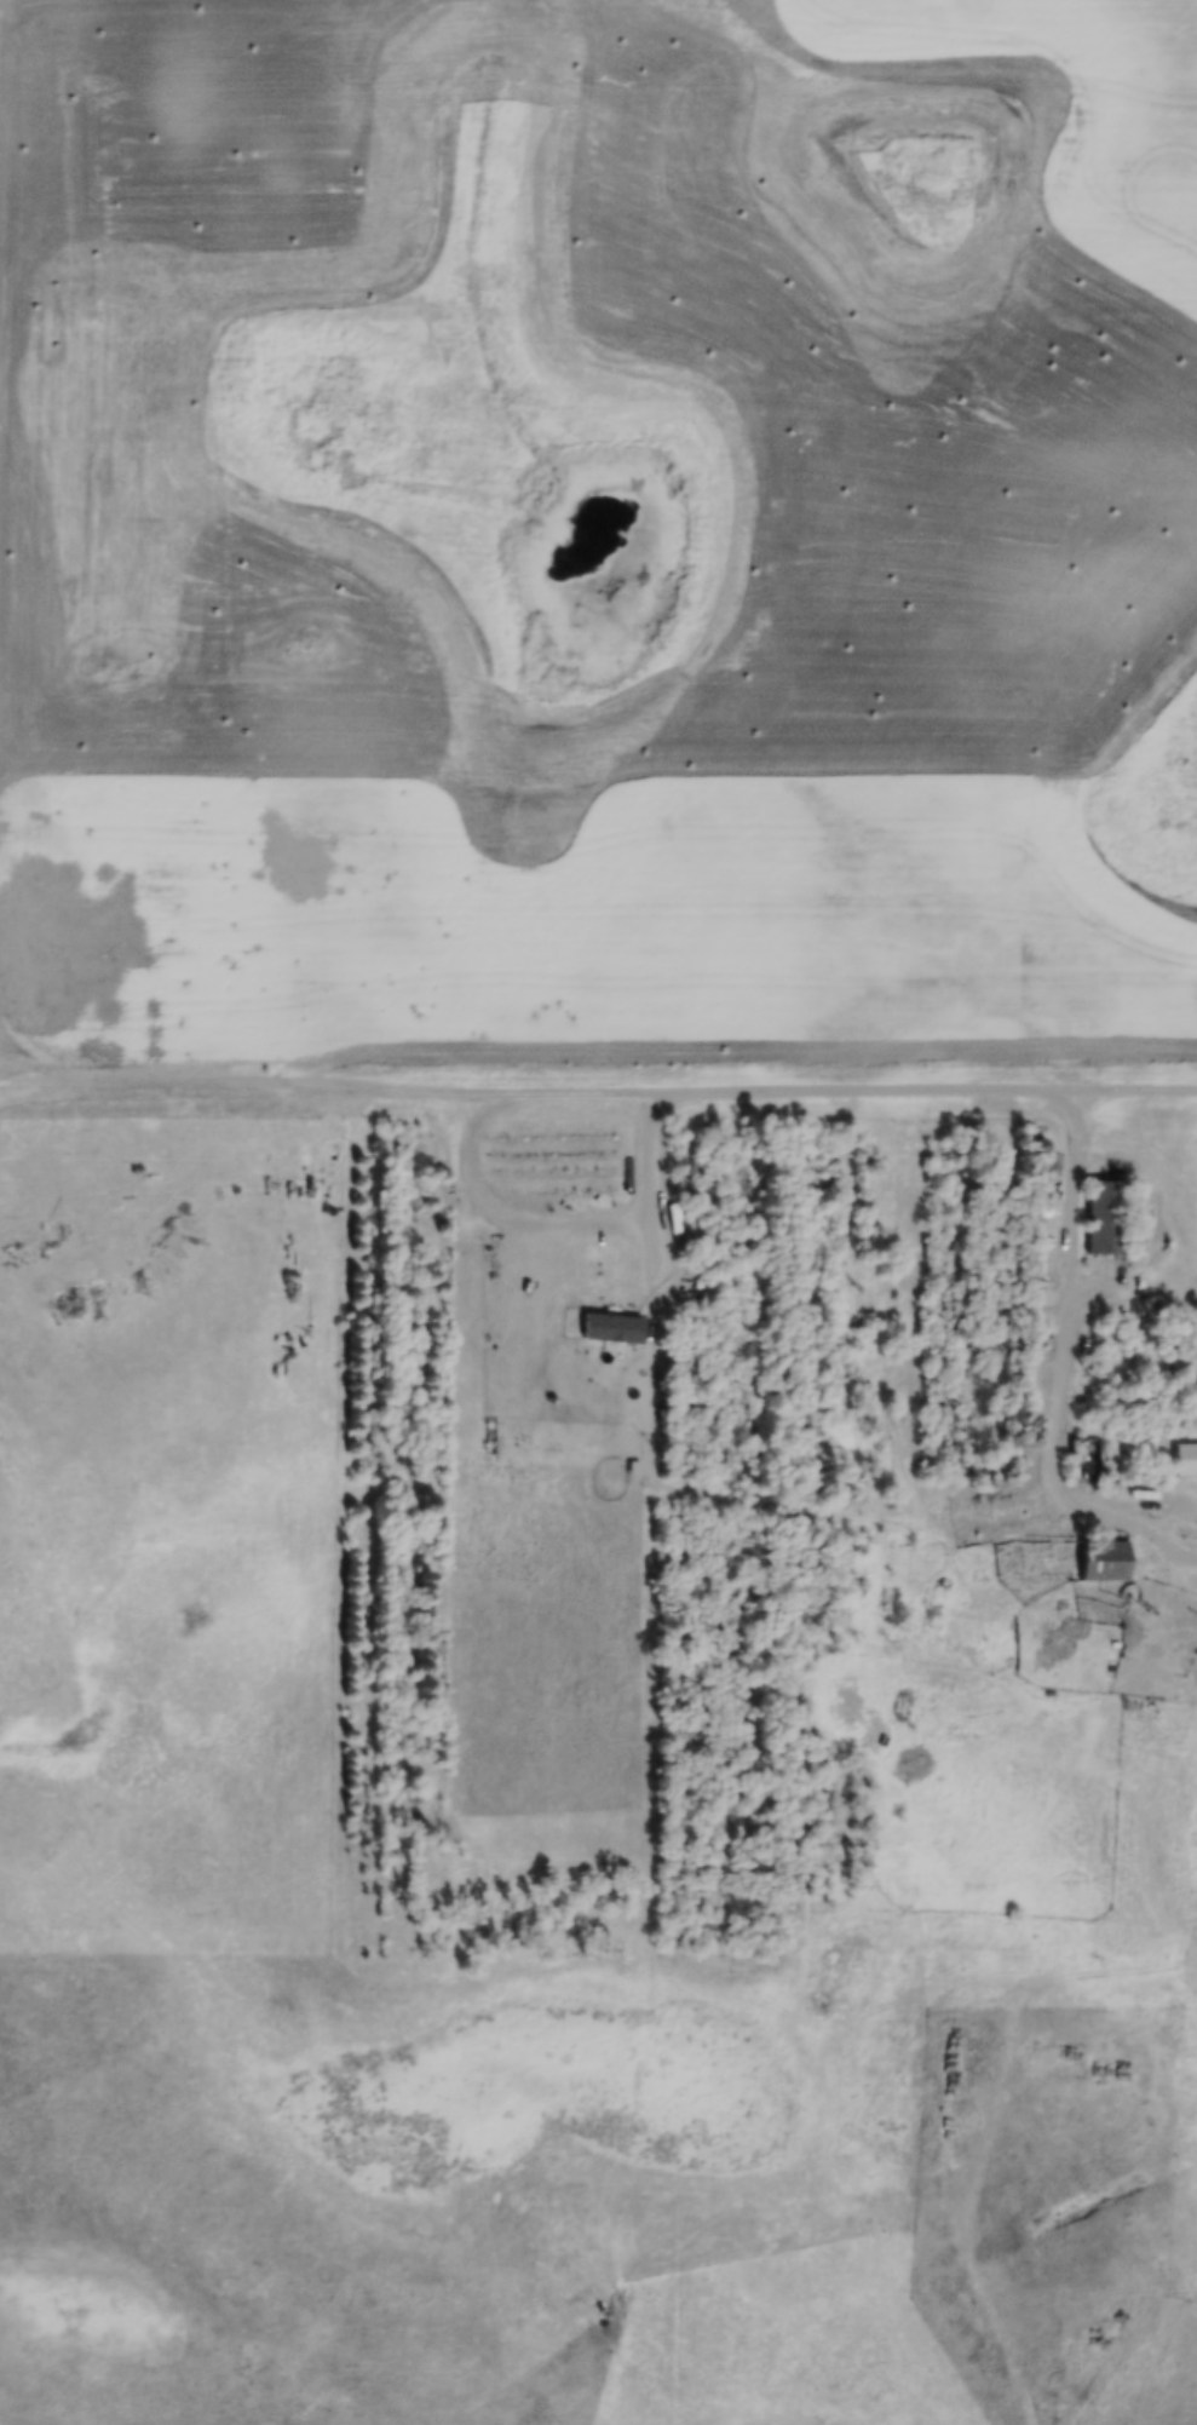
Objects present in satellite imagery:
road: (612, 1081)
building: (1037, 1148)
building: (1103, 1219)
road: (569, 1223)
road: (1055, 1368)
building: (1082, 1461)
building: (1185, 1461)
road: (1164, 1539)
building: (1103, 1562)

